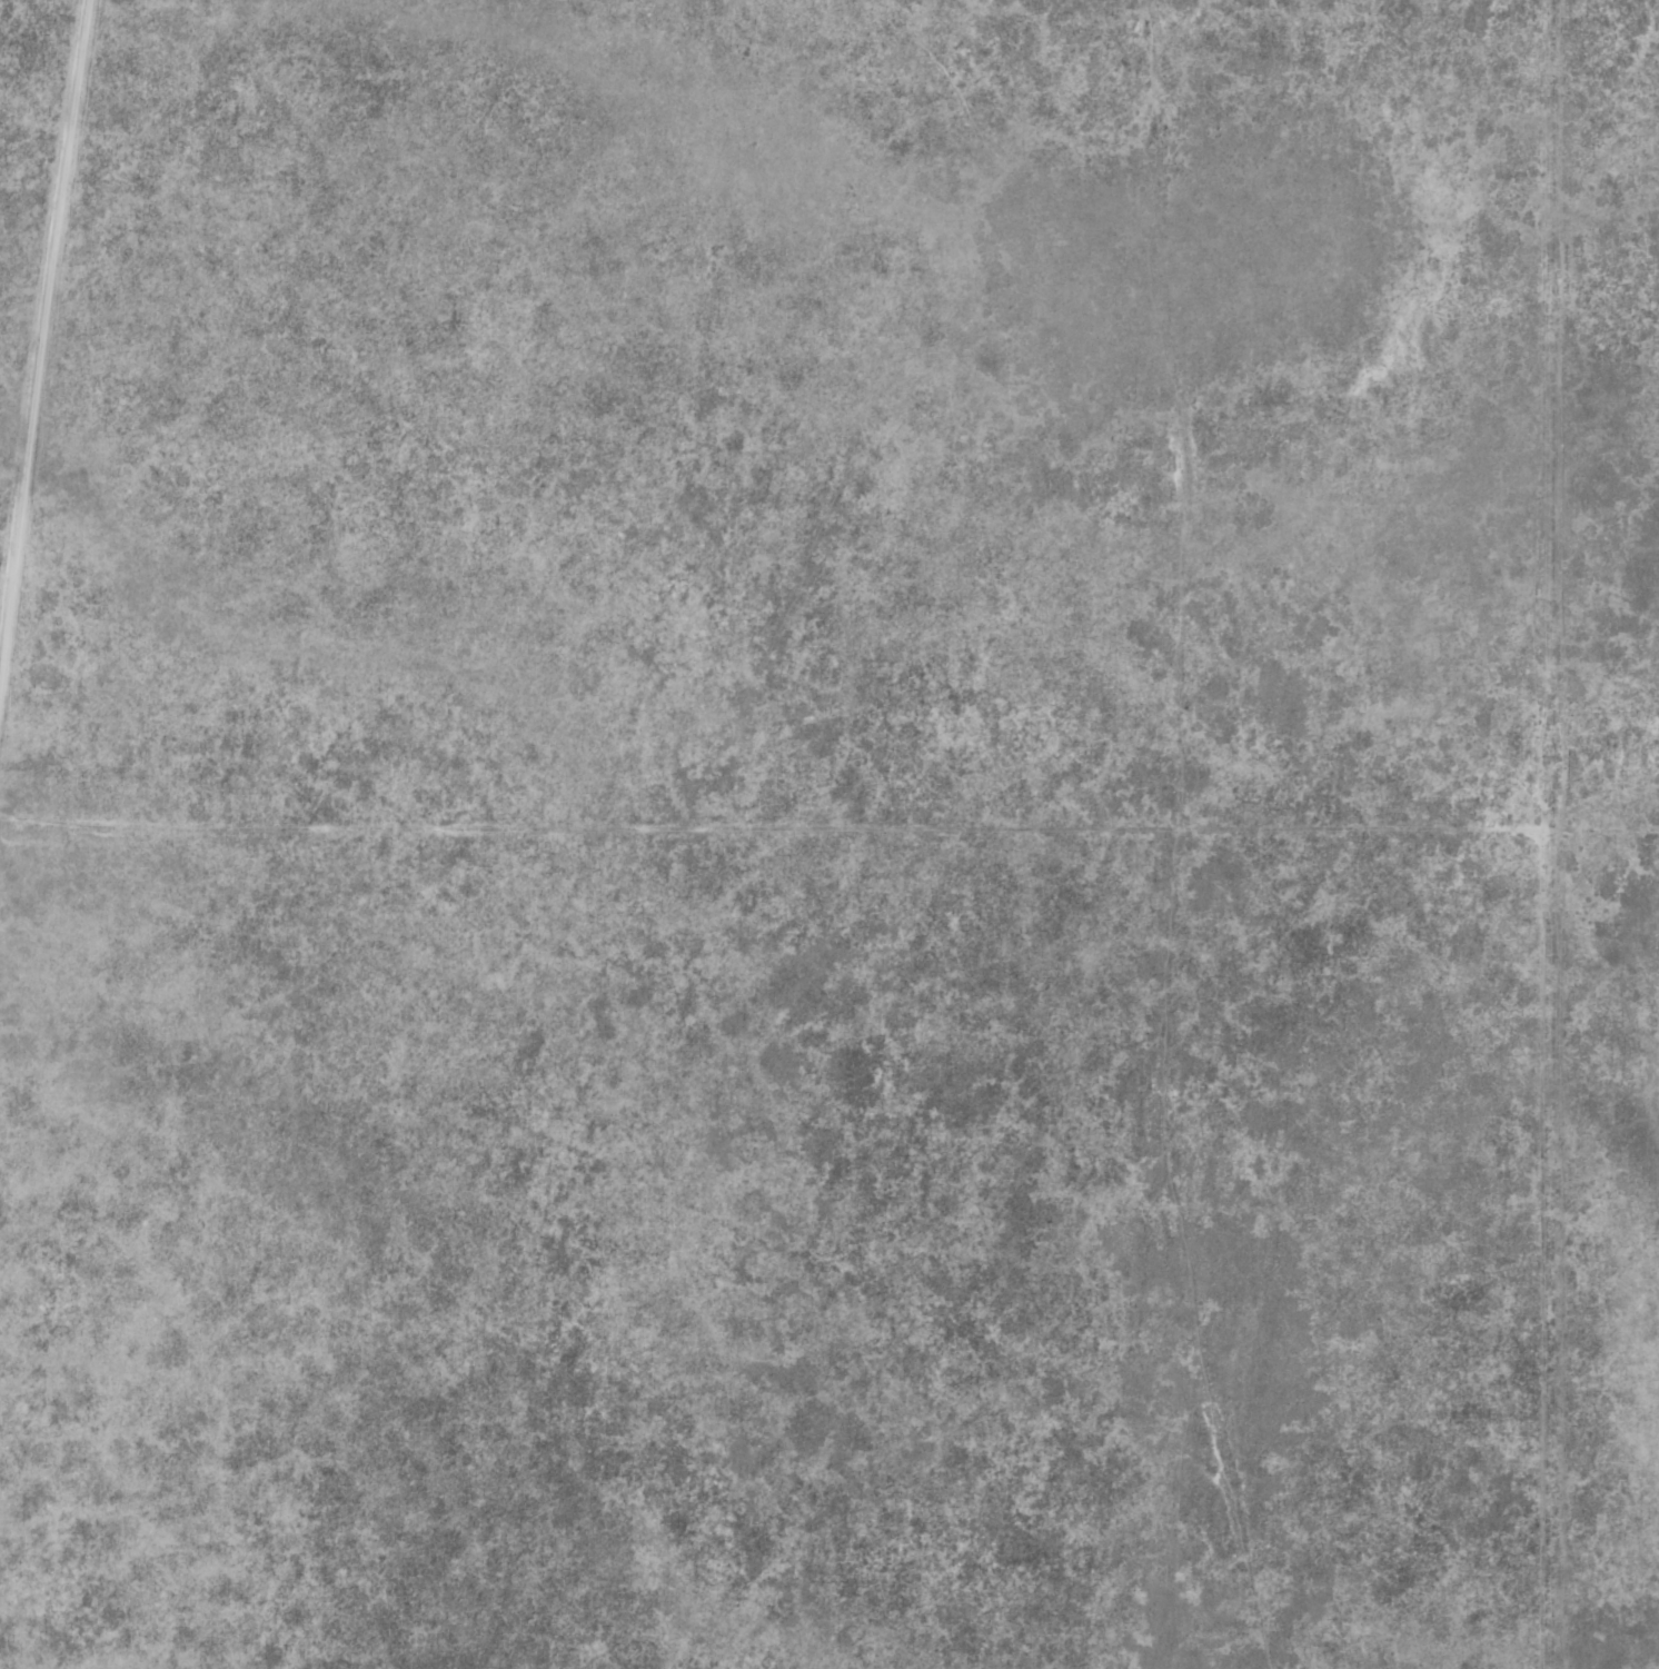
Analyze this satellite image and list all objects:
road: (41, 387)
road: (775, 778)

